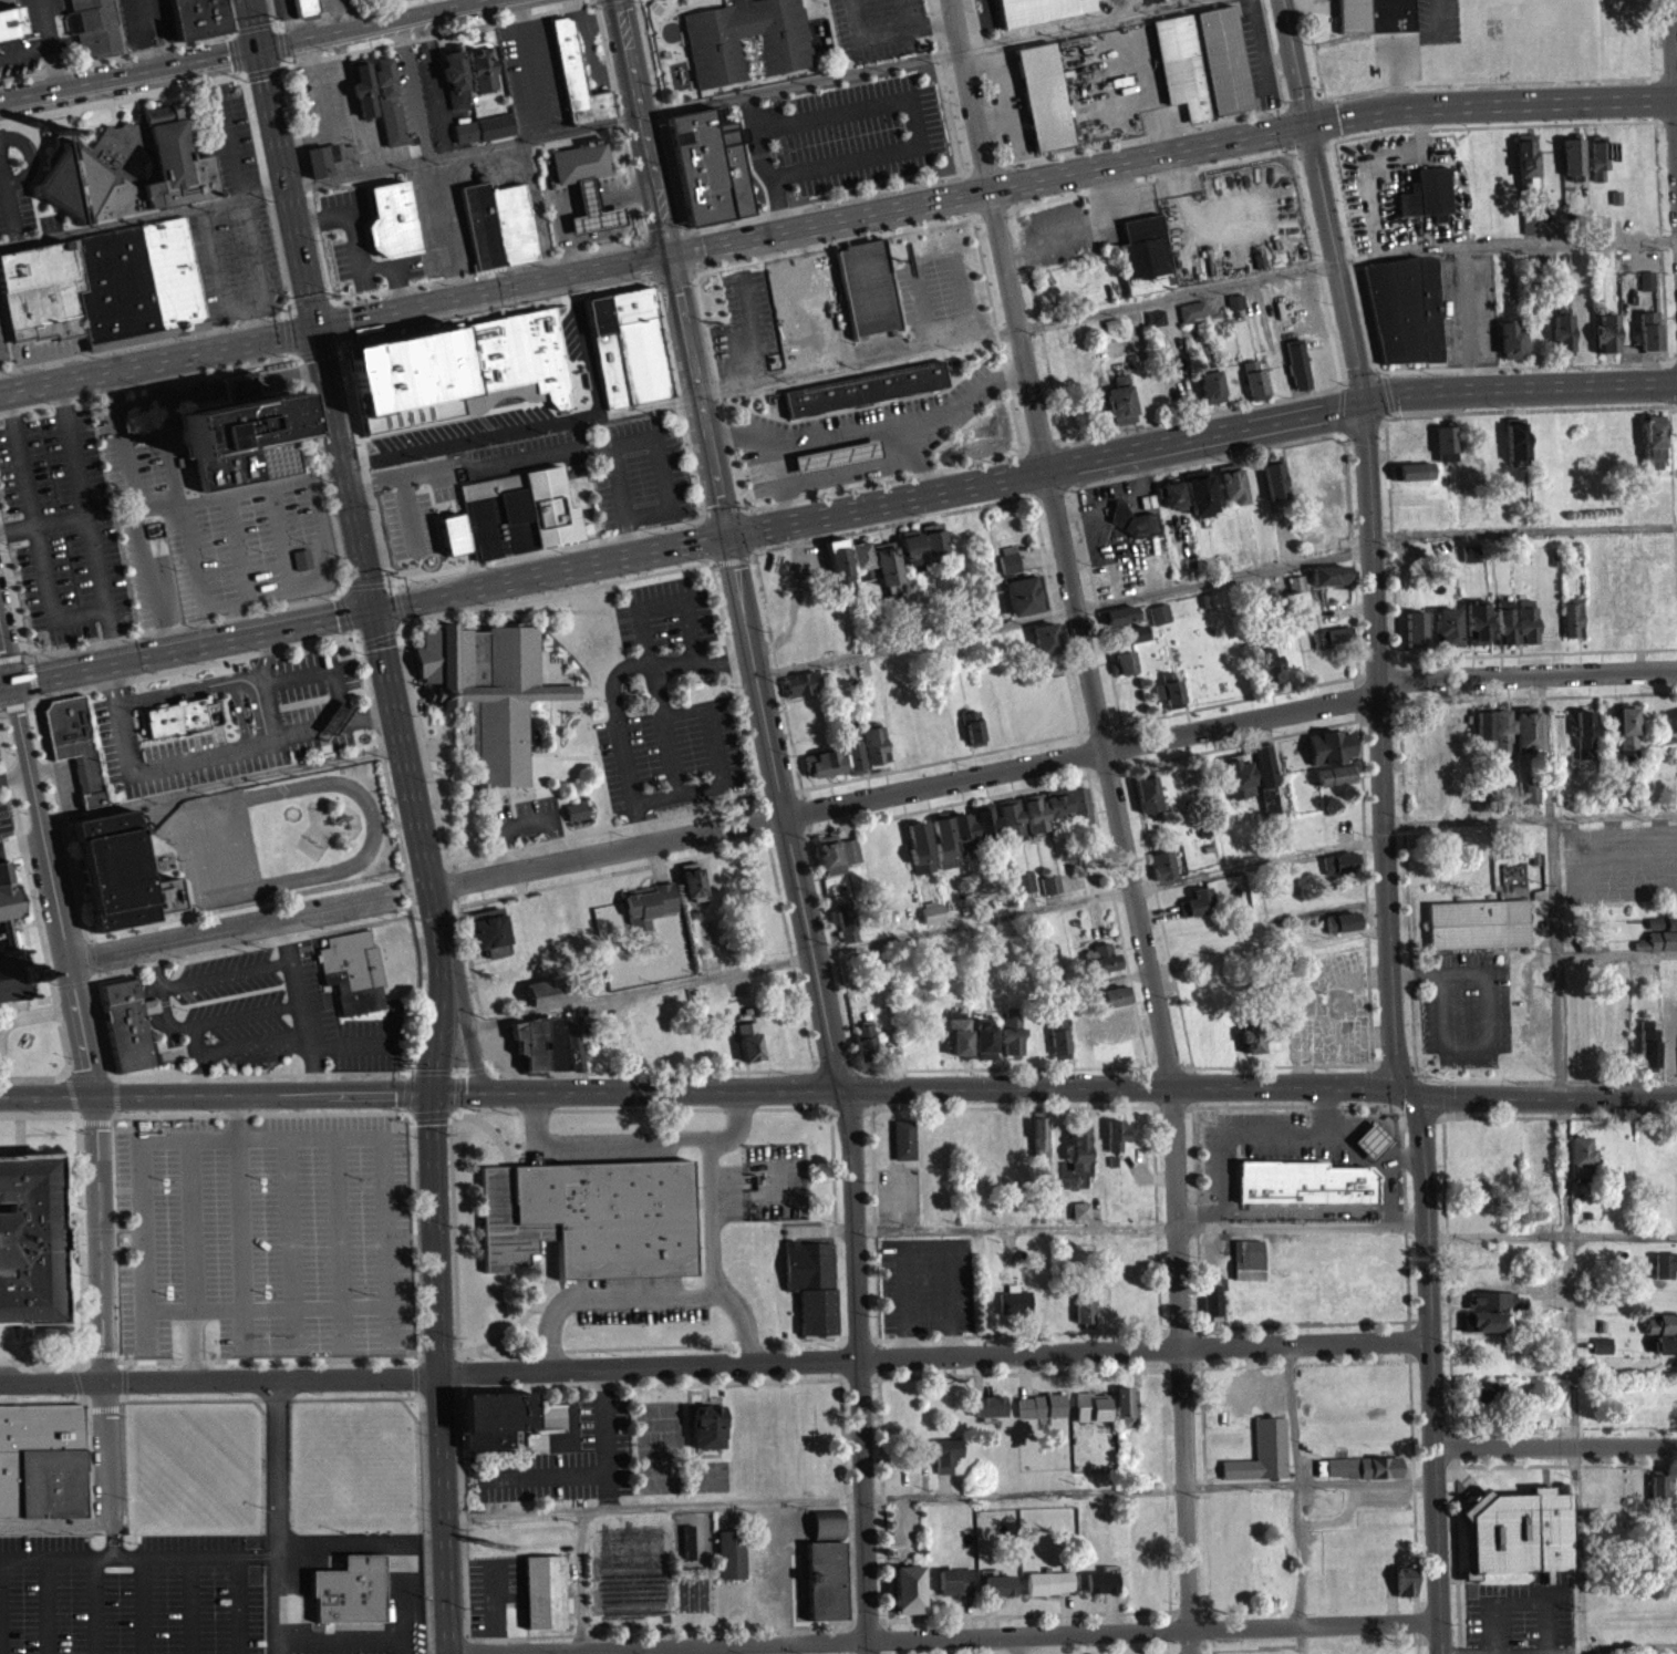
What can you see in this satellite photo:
building: (307, 7)
building: (1039, 10)
road: (272, 11)
road: (930, 12)
road: (329, 13)
road: (902, 14)
road: (230, 15)
building: (1375, 15)
road: (1675, 15)
building: (198, 17)
road: (253, 22)
road: (371, 23)
building: (10, 24)
building: (92, 27)
road: (253, 27)
road: (277, 27)
parking lot: (878, 27)
road: (438, 33)
road: (888, 33)
road: (232, 34)
parking lot: (1418, 38)
building: (746, 40)
road: (1400, 40)
road: (281, 42)
traffic signals: (258, 46)
road: (1650, 48)
road: (1314, 49)
road: (237, 51)
road: (120, 55)
building: (1223, 59)
road: (1674, 60)
building: (1180, 63)
road: (530, 66)
road: (262, 70)
building: (480, 70)
road: (1665, 72)
road: (128, 73)
road: (244, 73)
parking lot: (531, 74)
building: (578, 79)
building: (455, 80)
road: (990, 81)
road: (1147, 81)
road: (1477, 82)
building: (362, 87)
building: (1043, 96)
road: (123, 97)
building: (387, 103)
road: (950, 107)
road: (1329, 107)
road: (913, 117)
road: (1534, 123)
road: (596, 124)
traffic signals: (1307, 124)
building: (495, 125)
building: (465, 131)
parking lot: (859, 133)
road: (1365, 133)
road: (301, 157)
building: (321, 159)
building: (581, 159)
road: (762, 163)
building: (1572, 164)
building: (1525, 165)
building: (708, 166)
building: (126, 167)
building: (1597, 167)
road: (1169, 173)
road: (1010, 184)
road: (1301, 190)
road: (969, 203)
building: (1427, 203)
road: (798, 205)
building: (592, 209)
road: (992, 215)
building: (392, 218)
road: (836, 221)
building: (514, 224)
building: (482, 225)
building: (1530, 232)
road: (1353, 241)
traffic signals: (669, 255)
road: (648, 259)
road: (1660, 259)
building: (1145, 263)
road: (671, 267)
building: (104, 283)
building: (867, 287)
parking lot: (931, 287)
building: (1646, 289)
road: (328, 291)
building: (783, 294)
road: (309, 296)
road: (961, 298)
road: (292, 300)
road: (337, 301)
building: (809, 303)
road: (922, 306)
road: (515, 308)
building: (1235, 309)
road: (287, 317)
road: (266, 319)
building: (1192, 319)
building: (1405, 319)
road: (340, 321)
building: (1155, 325)
road: (317, 328)
traffic signals: (317, 328)
parking lot: (745, 329)
road: (748, 331)
road: (994, 331)
road: (288, 333)
road: (1008, 334)
building: (1647, 338)
building: (1582, 339)
road: (345, 340)
building: (1561, 341)
building: (1605, 341)
parking lot: (3, 343)
building: (639, 344)
parking lot: (879, 347)
building: (1510, 348)
road: (318, 350)
building: (607, 351)
road: (289, 352)
road: (293, 353)
building: (1296, 372)
road: (1383, 372)
road: (1353, 376)
building: (470, 378)
building: (1253, 387)
road: (1340, 387)
building: (865, 389)
road: (718, 391)
road: (1387, 391)
building: (1210, 393)
traffic signals: (1364, 396)
road: (866, 404)
building: (1119, 409)
road: (1529, 409)
road: (1340, 410)
road: (1391, 411)
road: (1360, 423)
parking lot: (853, 426)
road: (871, 431)
building: (239, 436)
road: (1031, 445)
building: (1652, 448)
building: (1514, 449)
building: (1445, 452)
building: (836, 457)
gas station: (836, 457)
road: (919, 458)
road: (1067, 464)
road: (1024, 473)
road: (1024, 474)
building: (1412, 479)
road: (779, 484)
building: (1273, 485)
building: (1230, 492)
building: (1199, 500)
building: (1170, 503)
building: (517, 510)
road: (720, 510)
road: (87, 519)
road: (42, 523)
parking lot: (206, 523)
parking lot: (61, 528)
road: (756, 528)
building: (1132, 529)
road: (37, 530)
traffic signals: (727, 534)
road: (1370, 539)
road: (700, 540)
road: (340, 547)
road: (767, 547)
building: (932, 547)
road: (733, 557)
building: (911, 557)
building: (302, 558)
road: (712, 560)
building: (1469, 561)
building: (1007, 567)
building: (837, 570)
building: (884, 572)
road: (424, 573)
road: (386, 581)
road: (366, 583)
building: (1328, 583)
road: (348, 586)
road: (394, 586)
building: (1295, 592)
building: (1024, 602)
road: (398, 603)
traffic signals: (376, 609)
road: (549, 609)
parking lot: (665, 612)
road: (485, 617)
road: (403, 620)
building: (1158, 621)
building: (1117, 623)
building: (1572, 628)
building: (1525, 629)
building: (1476, 631)
building: (1445, 634)
building: (1503, 634)
building: (1414, 638)
building: (1125, 643)
building: (1328, 644)
road: (188, 647)
road: (645, 647)
building: (1045, 647)
road: (265, 658)
road: (618, 658)
building: (1122, 671)
road: (756, 673)
building: (1267, 674)
road: (298, 678)
traffic signals: (11, 682)
road: (207, 688)
road: (592, 688)
road: (612, 688)
building: (489, 690)
road: (736, 690)
building: (800, 692)
road: (415, 693)
road: (429, 693)
building: (1168, 697)
parking lot: (313, 715)
building: (182, 716)
road: (1228, 722)
building: (972, 724)
building: (1525, 735)
building: (1483, 738)
building: (75, 740)
building: (1584, 740)
building: (1625, 740)
building: (1502, 741)
road: (423, 744)
road: (404, 747)
road: (599, 753)
building: (872, 753)
road: (210, 754)
parking lot: (671, 754)
building: (1328, 755)
parking lot: (0, 758)
building: (851, 758)
road: (722, 766)
building: (822, 772)
road: (14, 773)
building: (1261, 773)
road: (221, 782)
building: (1238, 783)
building: (1335, 783)
road: (530, 787)
road: (33, 794)
building: (1531, 800)
building: (1147, 802)
building: (1267, 807)
building: (1480, 808)
building: (1056, 810)
building: (1079, 814)
parking lot: (4, 816)
parking lot: (524, 816)
building: (572, 819)
building: (1034, 820)
road: (1116, 820)
road: (526, 821)
building: (1010, 826)
building: (985, 827)
road: (21, 842)
building: (953, 848)
road: (608, 850)
building: (919, 856)
building: (849, 859)
building: (828, 862)
building: (1338, 870)
building: (120, 871)
building: (1162, 873)
road: (454, 881)
building: (691, 889)
building: (1025, 890)
road: (298, 891)
building: (1049, 892)
building: (8, 902)
building: (1197, 910)
building: (646, 912)
road: (155, 920)
building: (931, 920)
road: (249, 922)
building: (1340, 930)
building: (845, 931)
building: (1662, 931)
building: (1476, 932)
road: (253, 940)
building: (489, 940)
road: (814, 950)
building: (1657, 950)
building: (1590, 951)
building: (1100, 966)
building: (352, 970)
building: (12, 973)
road: (439, 989)
building: (1110, 1005)
building: (125, 1024)
building: (1114, 1024)
building: (1011, 1040)
building: (956, 1041)
building: (1251, 1043)
building: (1057, 1044)
building: (747, 1048)
building: (865, 1048)
building: (983, 1048)
building: (538, 1051)
building: (1647, 1051)
building: (573, 1056)
road: (157, 1074)
road: (1122, 1085)
traffic signals: (1402, 1086)
road: (636, 1088)
traffic signals: (431, 1090)
road: (1540, 1090)
road: (215, 1094)
road: (1400, 1116)
road: (739, 1124)
road: (1235, 1131)
road: (263, 1136)
road: (674, 1141)
building: (1115, 1143)
building: (1037, 1145)
building: (902, 1148)
building: (1370, 1148)
road: (1353, 1151)
building: (1580, 1164)
building: (1075, 1166)
road: (97, 1167)
road: (1387, 1174)
building: (1303, 1190)
building: (1079, 1218)
road: (239, 1220)
building: (590, 1224)
road: (1301, 1226)
parking lot: (267, 1233)
building: (29, 1236)
road: (289, 1241)
road: (337, 1241)
road: (190, 1257)
building: (1248, 1258)
building: (1664, 1273)
building: (1246, 1278)
building: (811, 1293)
road: (607, 1299)
building: (1212, 1305)
road: (267, 1306)
building: (1013, 1309)
building: (1084, 1315)
road: (741, 1321)
building: (1482, 1330)
building: (1660, 1332)
building: (1601, 1353)
building: (1665, 1353)
road: (713, 1360)
road: (1429, 1367)
road: (859, 1369)
road: (438, 1372)
building: (1676, 1376)
road: (878, 1381)
building: (1487, 1398)
road: (1290, 1410)
building: (986, 1415)
building: (1039, 1415)
building: (1090, 1415)
building: (1126, 1415)
building: (494, 1426)
building: (706, 1435)
road: (1554, 1441)
road: (107, 1448)
road: (275, 1461)
building: (1261, 1461)
building: (945, 1462)
building: (41, 1468)
building: (1360, 1475)
road: (1298, 1484)
road: (1242, 1485)
building: (1659, 1497)
road: (817, 1500)
road: (55, 1519)
building: (826, 1531)
road: (111, 1536)
building: (1518, 1540)
road: (397, 1546)
road: (1577, 1547)
road: (258, 1550)
building: (686, 1550)
road: (118, 1552)
building: (729, 1562)
building: (1671, 1578)
building: (820, 1586)
building: (1404, 1589)
building: (954, 1590)
building: (1099, 1590)
building: (1047, 1591)
parking lot: (134, 1593)
building: (997, 1593)
building: (907, 1598)
building: (349, 1599)
road: (280, 1600)
building: (542, 1600)
road: (238, 1602)
road: (969, 1634)
road: (1300, 1637)
road: (1559, 1652)

